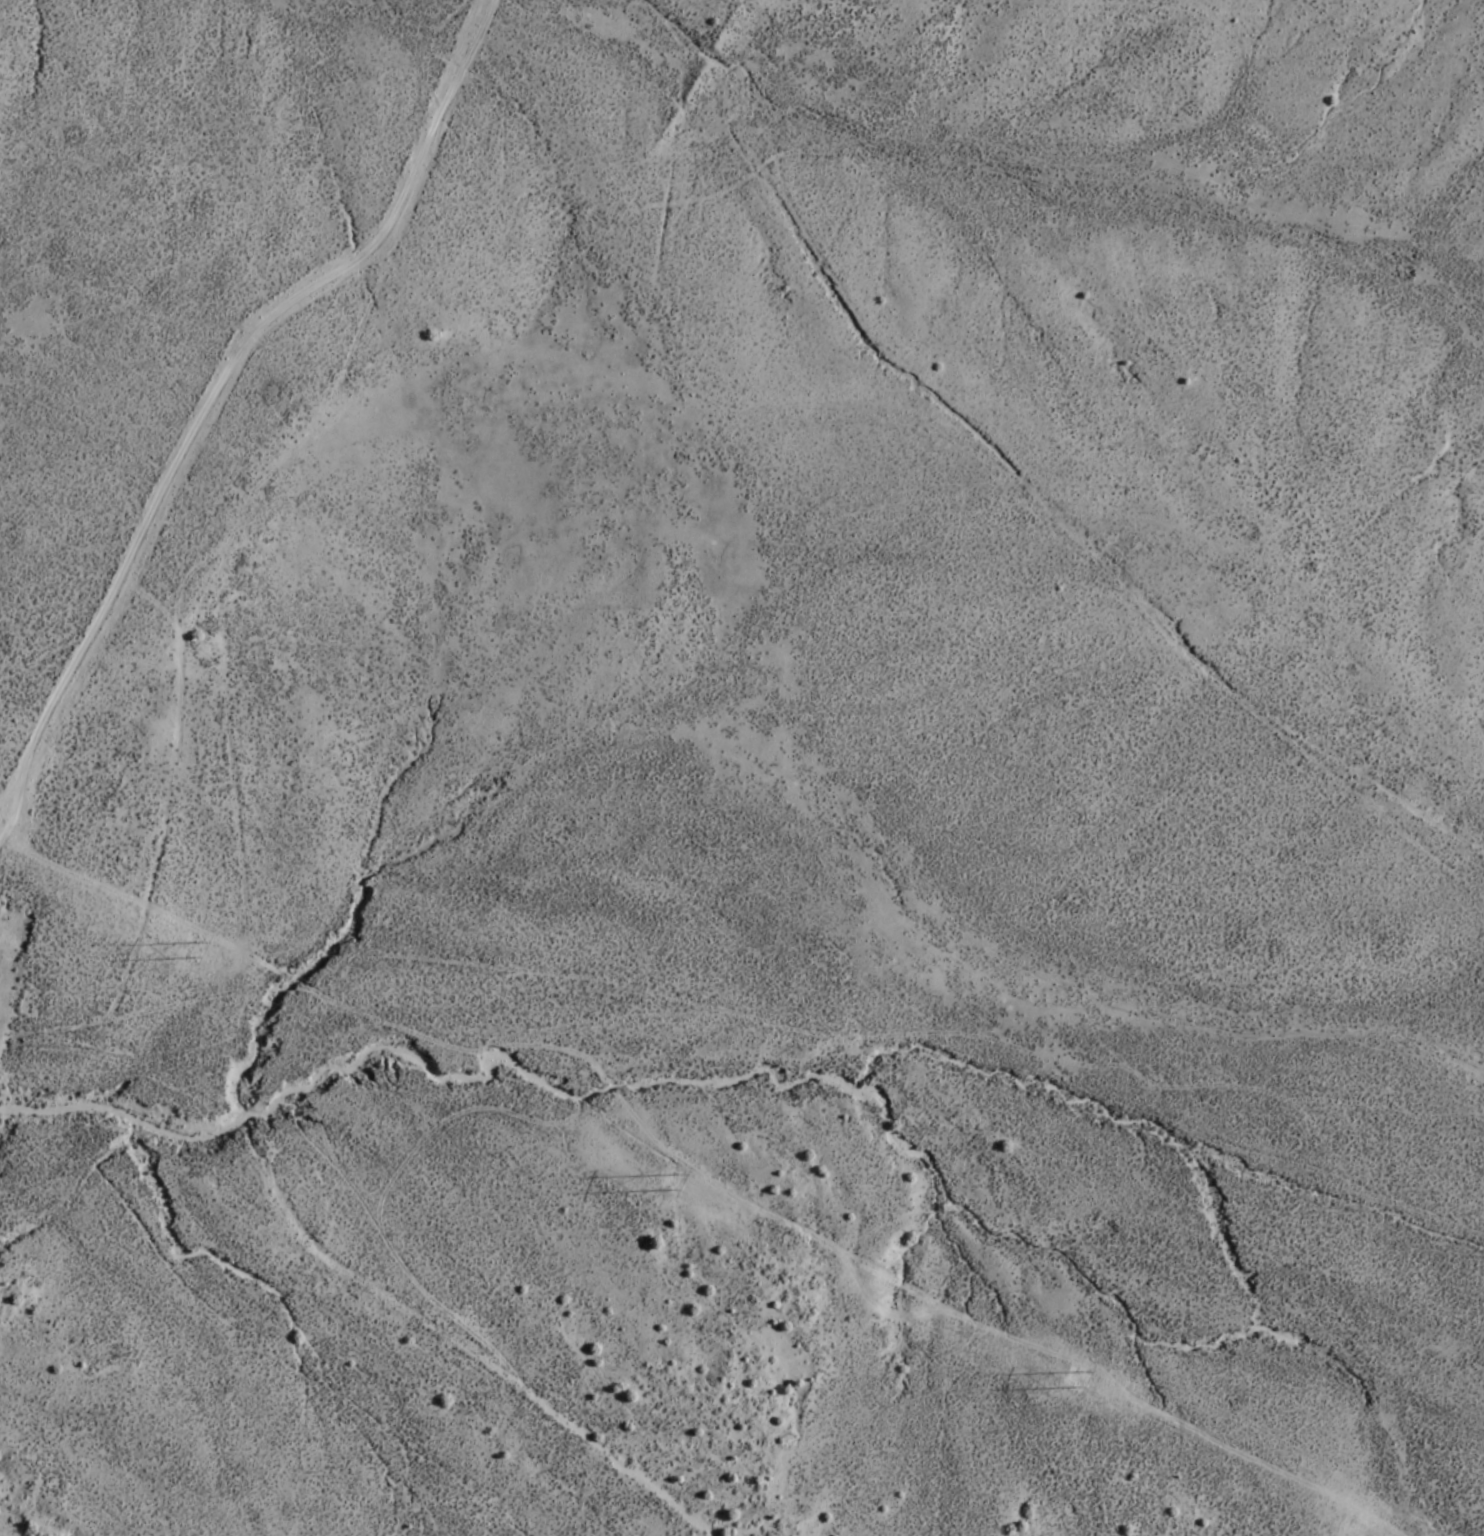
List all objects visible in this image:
road: (287, 817)
power tower: (191, 946)
road: (145, 1014)
power tower: (668, 1179)
power tower: (1075, 1375)

